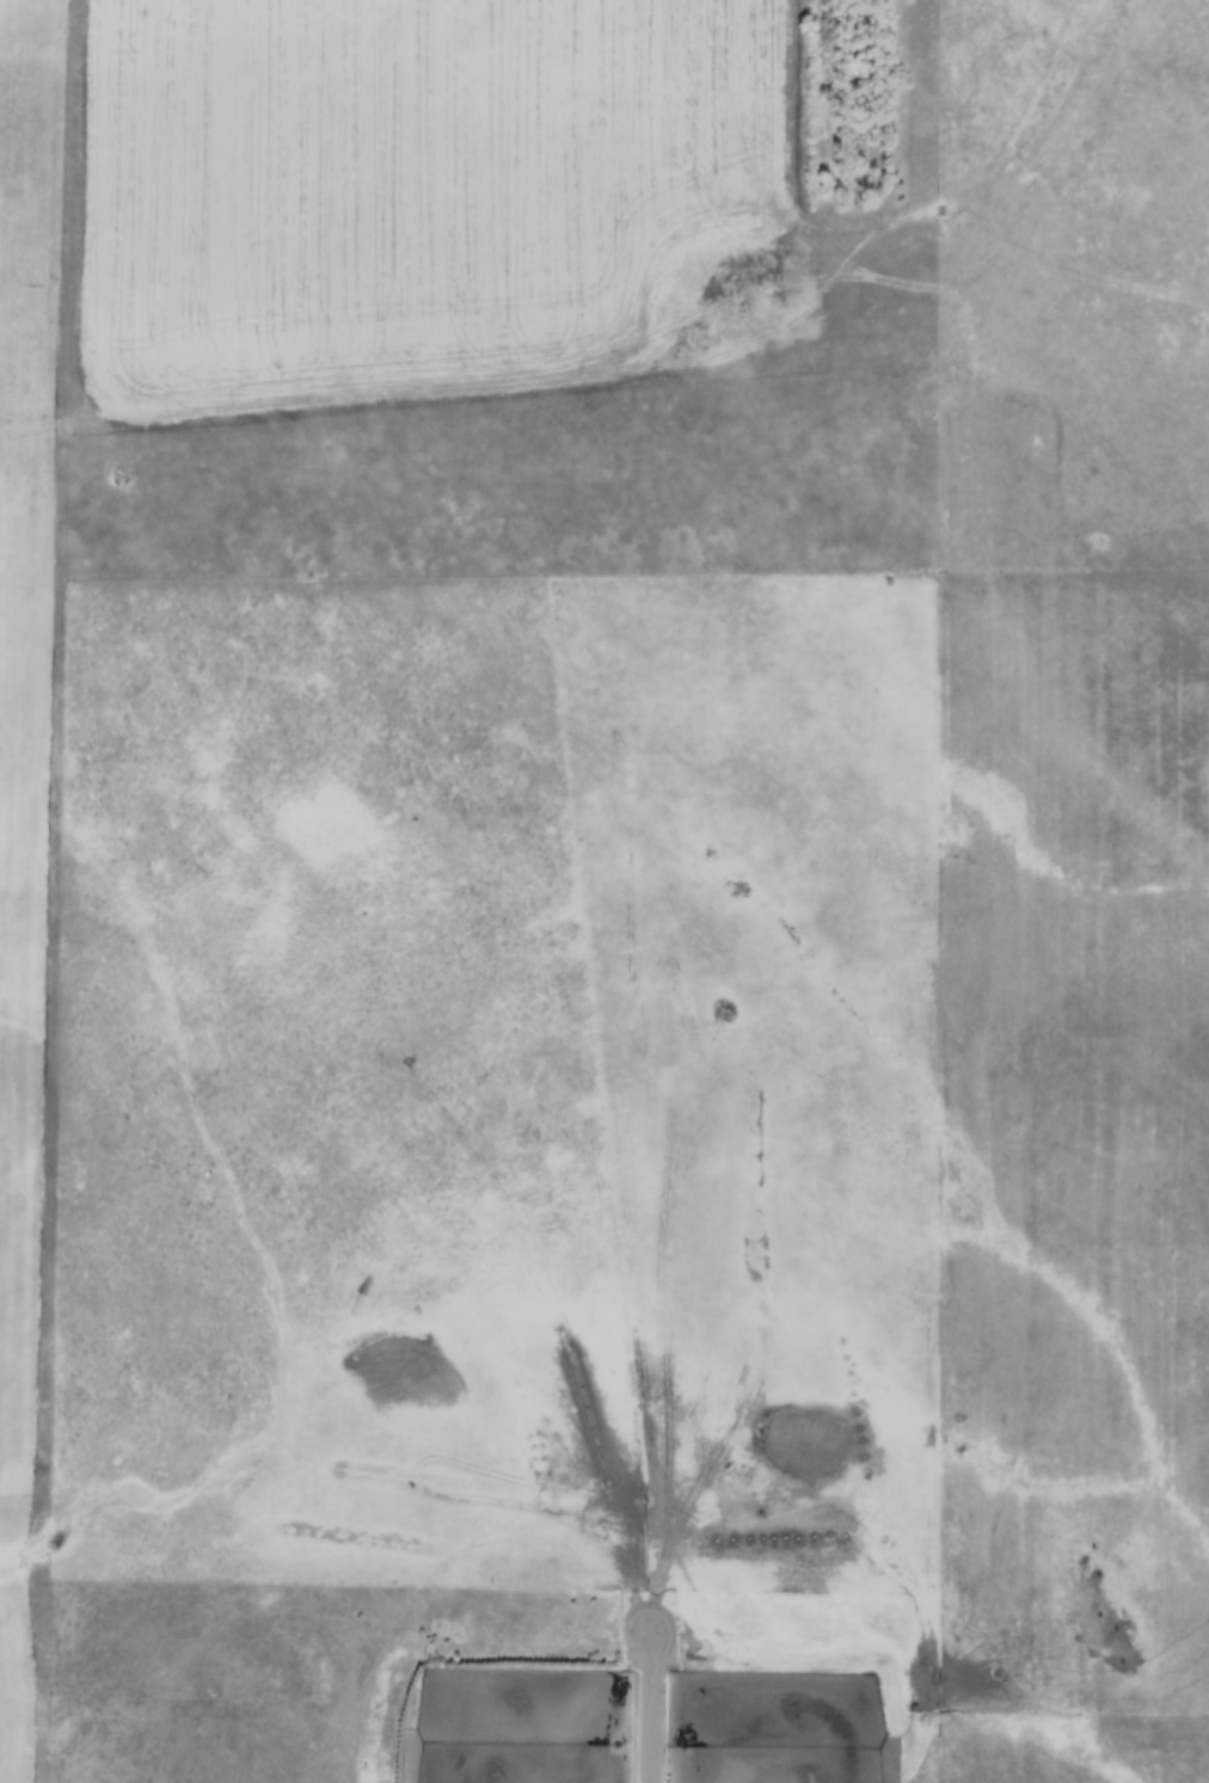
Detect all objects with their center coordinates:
road: (1056, 96)

